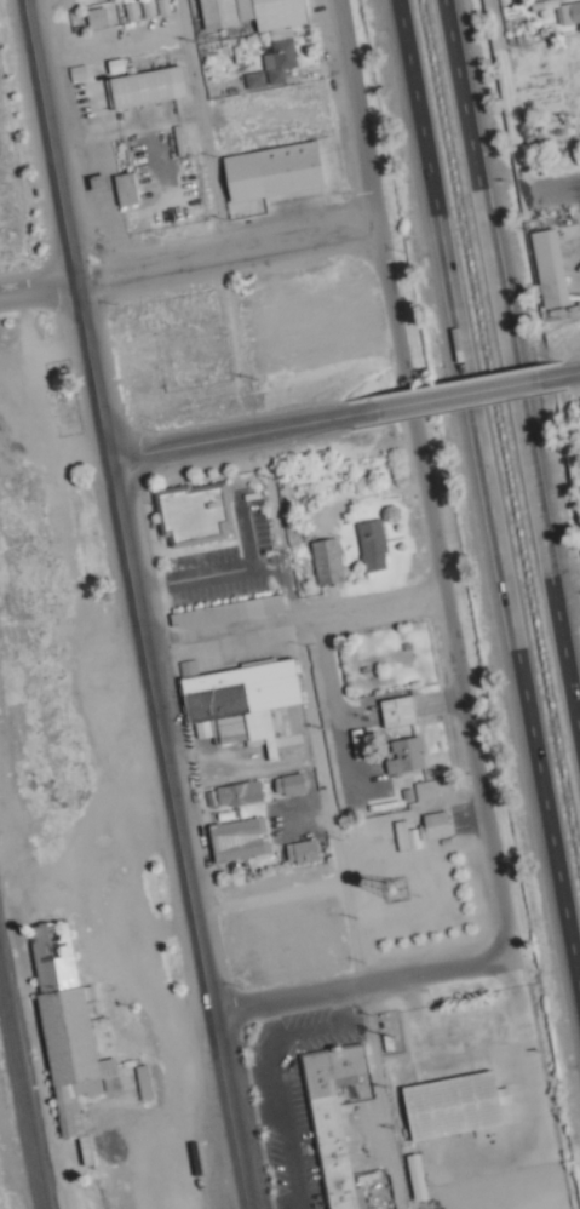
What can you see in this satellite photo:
building: (96, 16)
building: (281, 40)
building: (147, 85)
road: (354, 115)
road: (202, 128)
building: (272, 170)
building: (125, 187)
road: (556, 191)
road: (224, 257)
building: (550, 267)
road: (36, 290)
road: (570, 373)
road: (511, 376)
road: (455, 395)
road: (228, 439)
road: (487, 500)
building: (193, 512)
building: (371, 543)
building: (327, 558)
road: (440, 590)
road: (133, 604)
building: (245, 608)
road: (291, 624)
building: (248, 704)
building: (397, 710)
building: (406, 755)
building: (288, 783)
building: (239, 792)
road: (327, 804)
building: (436, 823)
building: (240, 838)
building: (302, 849)
road: (358, 986)
building: (67, 1024)
railway: (22, 1087)
building: (452, 1105)
building: (333, 1119)
building: (419, 1190)

